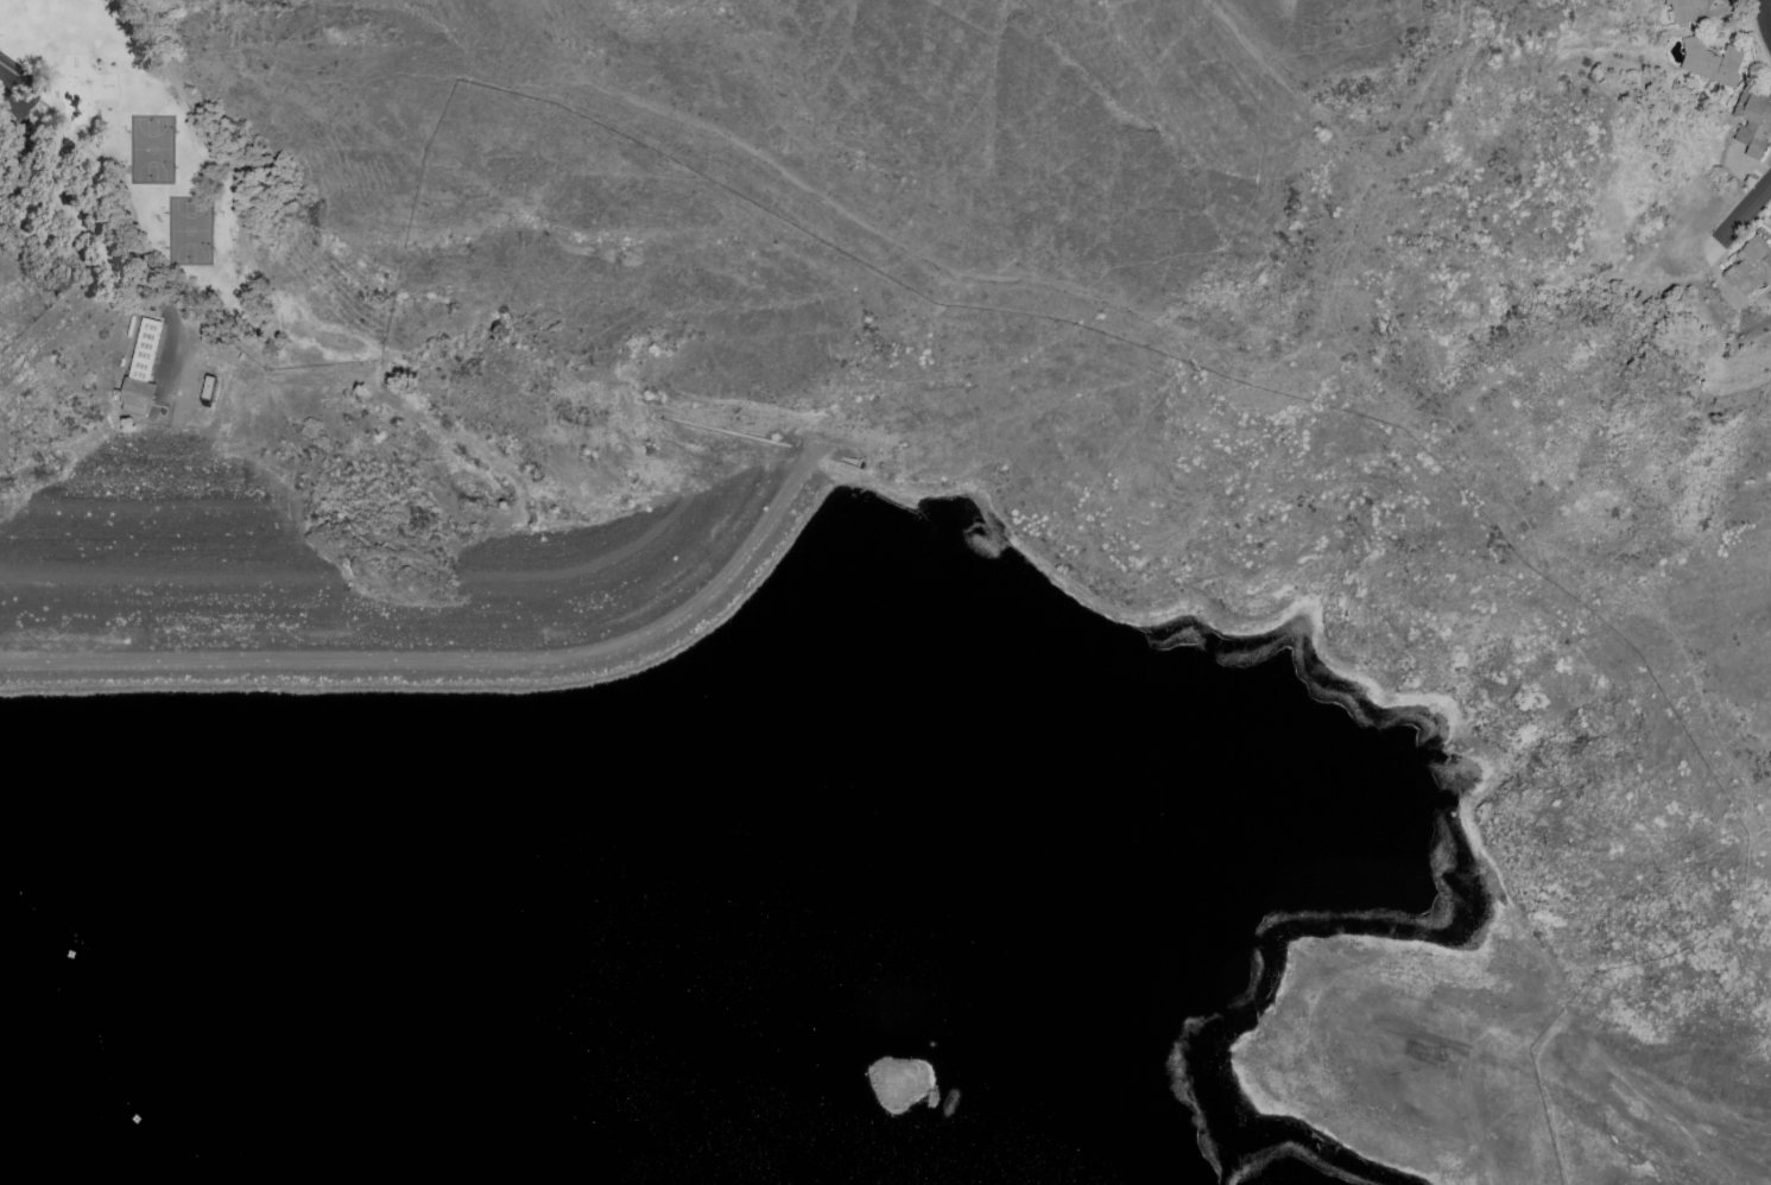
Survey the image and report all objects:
building: (1697, 8)
road: (1766, 12)
building: (1712, 62)
road: (5, 70)
road: (26, 77)
building: (1753, 121)
park: (124, 147)
park: (150, 147)
road: (1745, 208)
park: (186, 230)
building: (1751, 266)
building: (138, 372)
dam: (422, 536)
road: (445, 660)
road: (1371, 695)
road: (1595, 1051)

